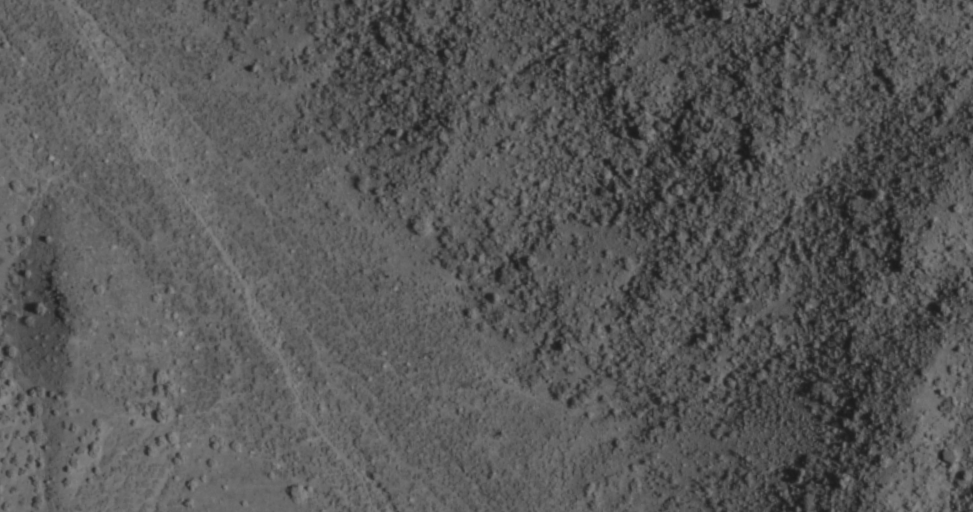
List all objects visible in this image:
road: (164, 165)
road: (23, 294)
road: (310, 426)

